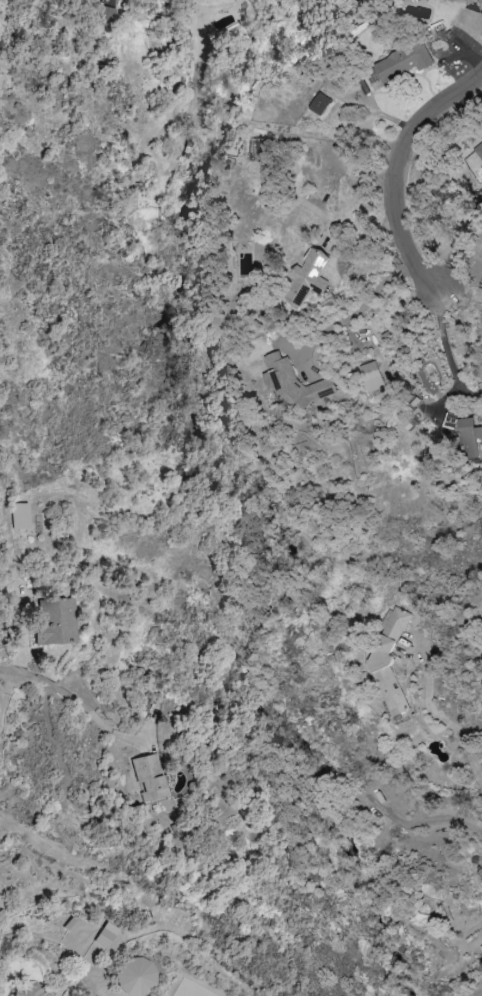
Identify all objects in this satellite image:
building: (65, 0)
building: (205, 0)
building: (396, 65)
building: (319, 104)
building: (478, 152)
road: (402, 173)
building: (306, 278)
road: (359, 310)
road: (447, 351)
building: (370, 377)
building: (295, 383)
building: (465, 434)
building: (20, 516)
building: (57, 621)
building: (393, 663)
road: (48, 682)
road: (434, 718)
building: (151, 778)
building: (107, 935)
building: (137, 977)
building: (33, 991)

